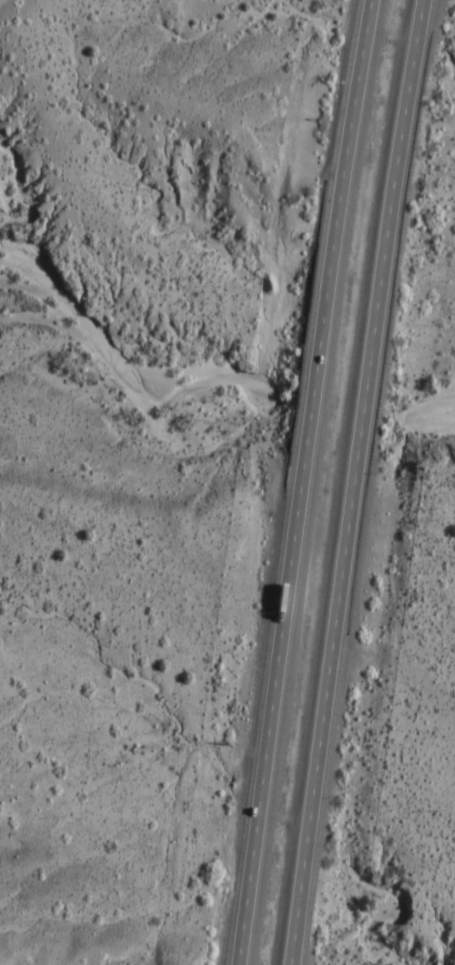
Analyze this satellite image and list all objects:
river: (33, 288)
river: (47, 320)
river: (124, 377)
river: (340, 408)
river: (424, 409)
river: (439, 412)
road: (300, 481)
road: (352, 481)

